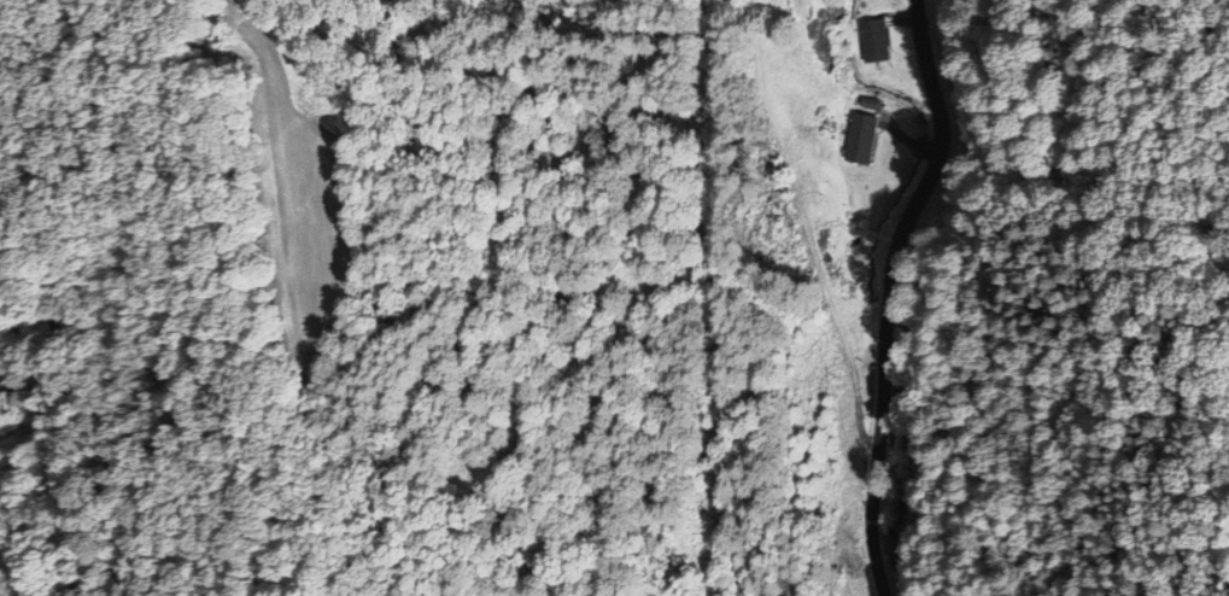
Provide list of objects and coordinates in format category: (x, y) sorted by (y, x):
building: (870, 40)
building: (855, 138)
road: (889, 292)
building: (855, 392)

